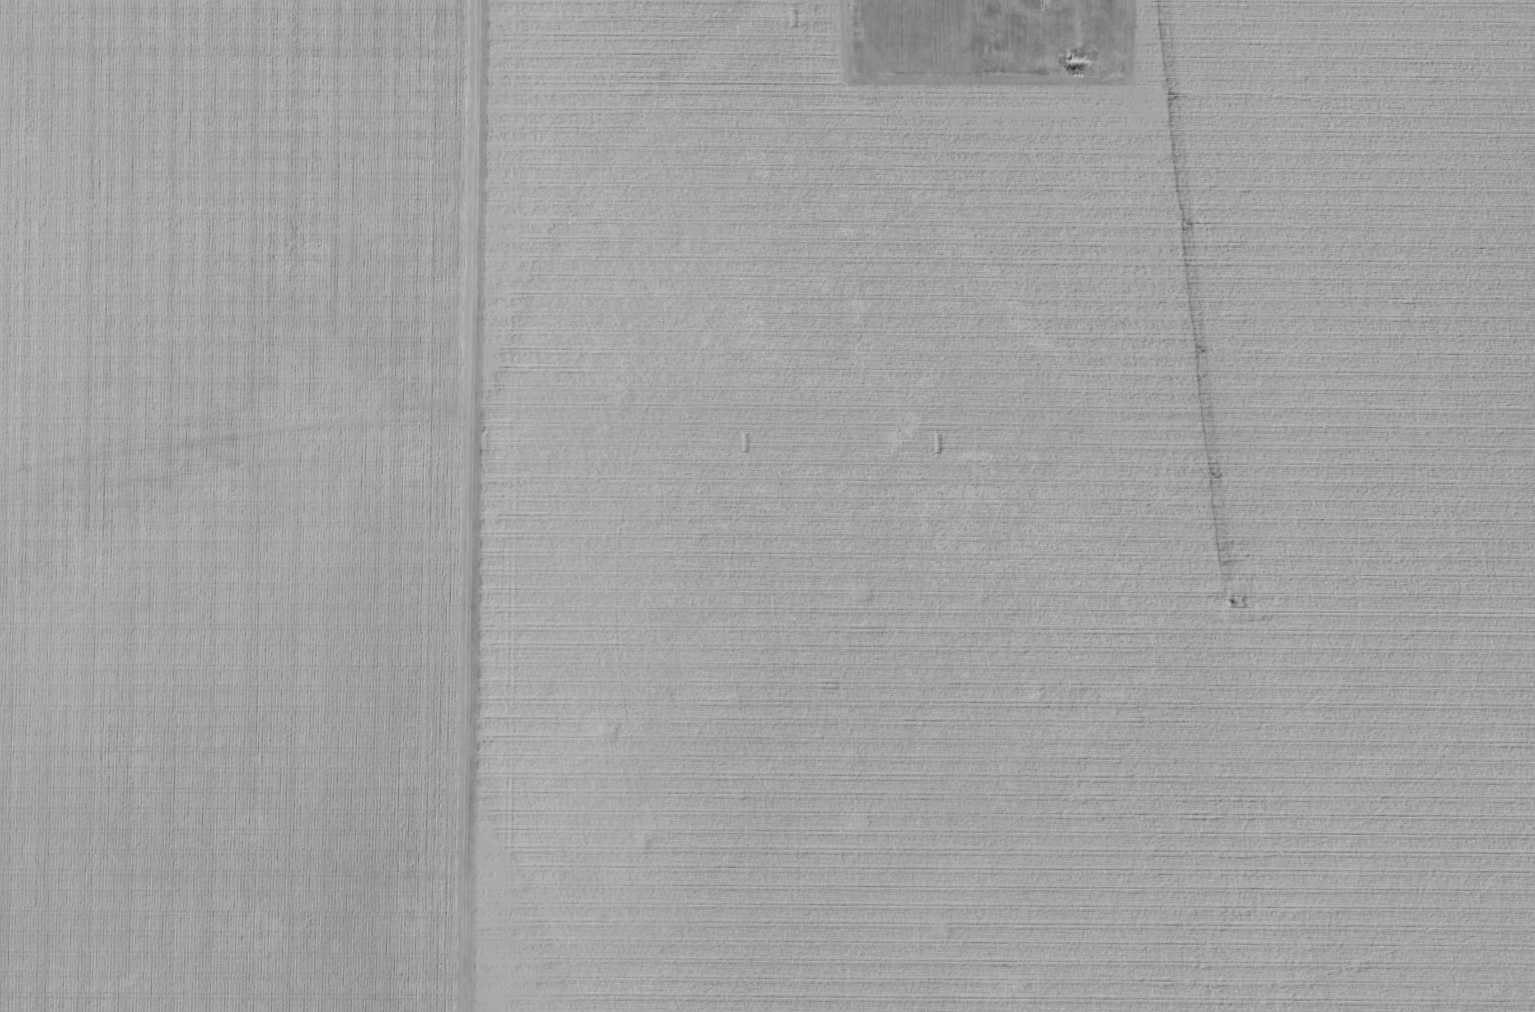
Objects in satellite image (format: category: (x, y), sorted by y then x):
road: (492, 506)

